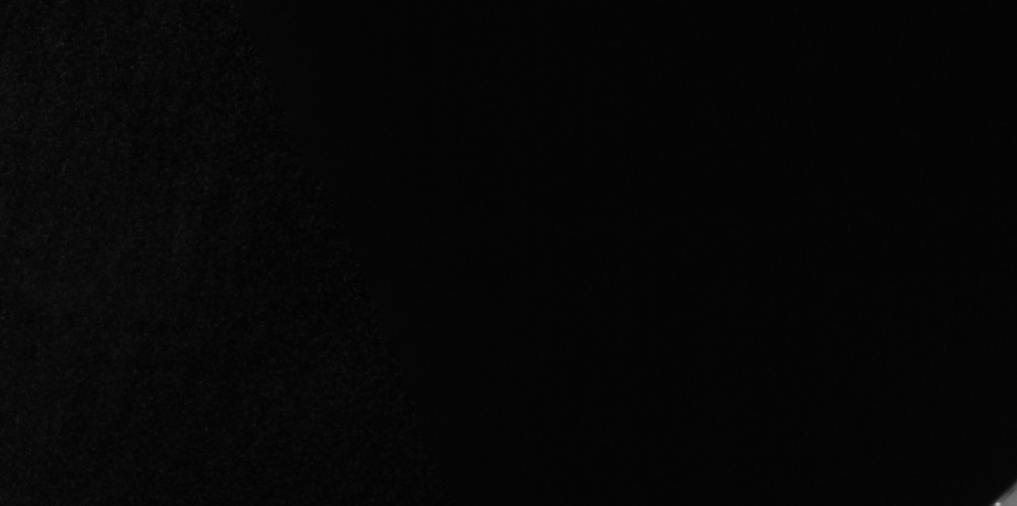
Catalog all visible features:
river: (380, 320)

